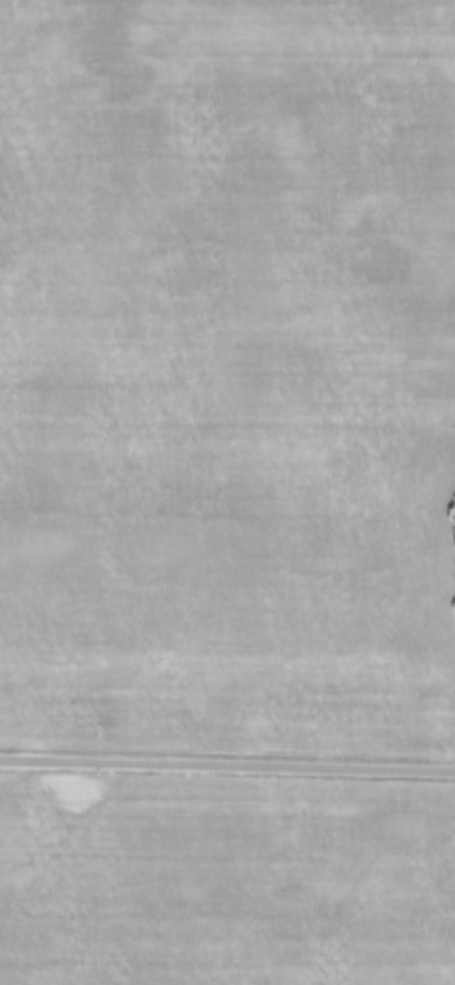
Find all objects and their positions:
road: (227, 769)

